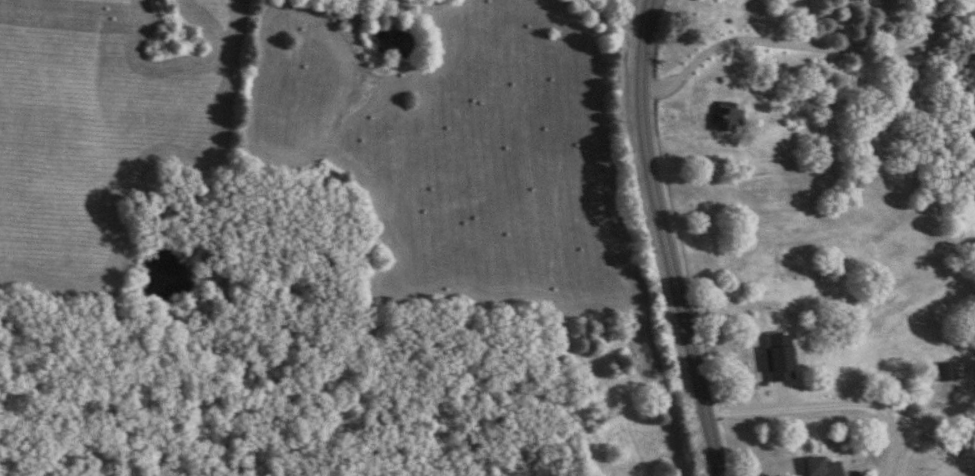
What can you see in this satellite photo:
road: (803, 44)
road: (664, 239)
building: (774, 364)
road: (830, 403)
building: (816, 467)

